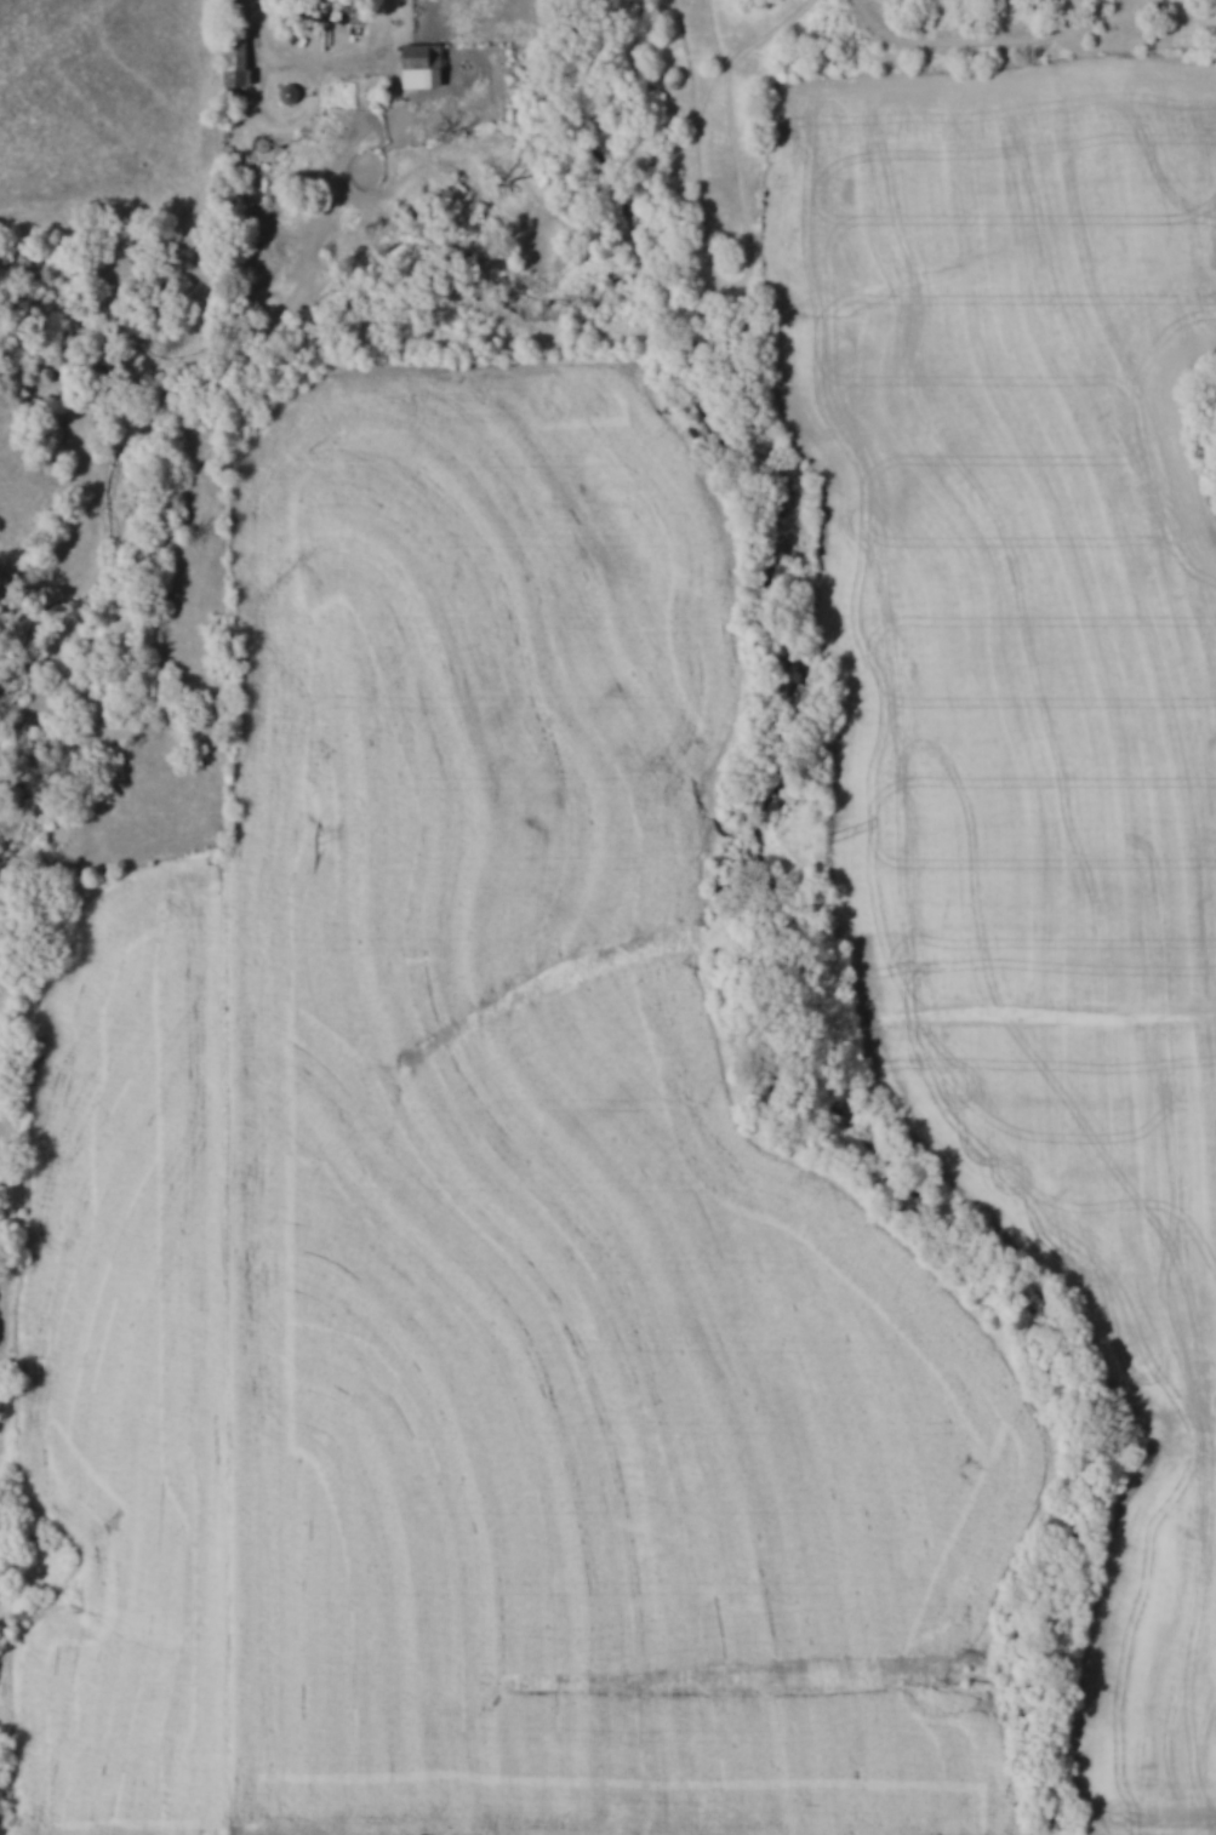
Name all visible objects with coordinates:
building: (429, 67)
building: (295, 93)

